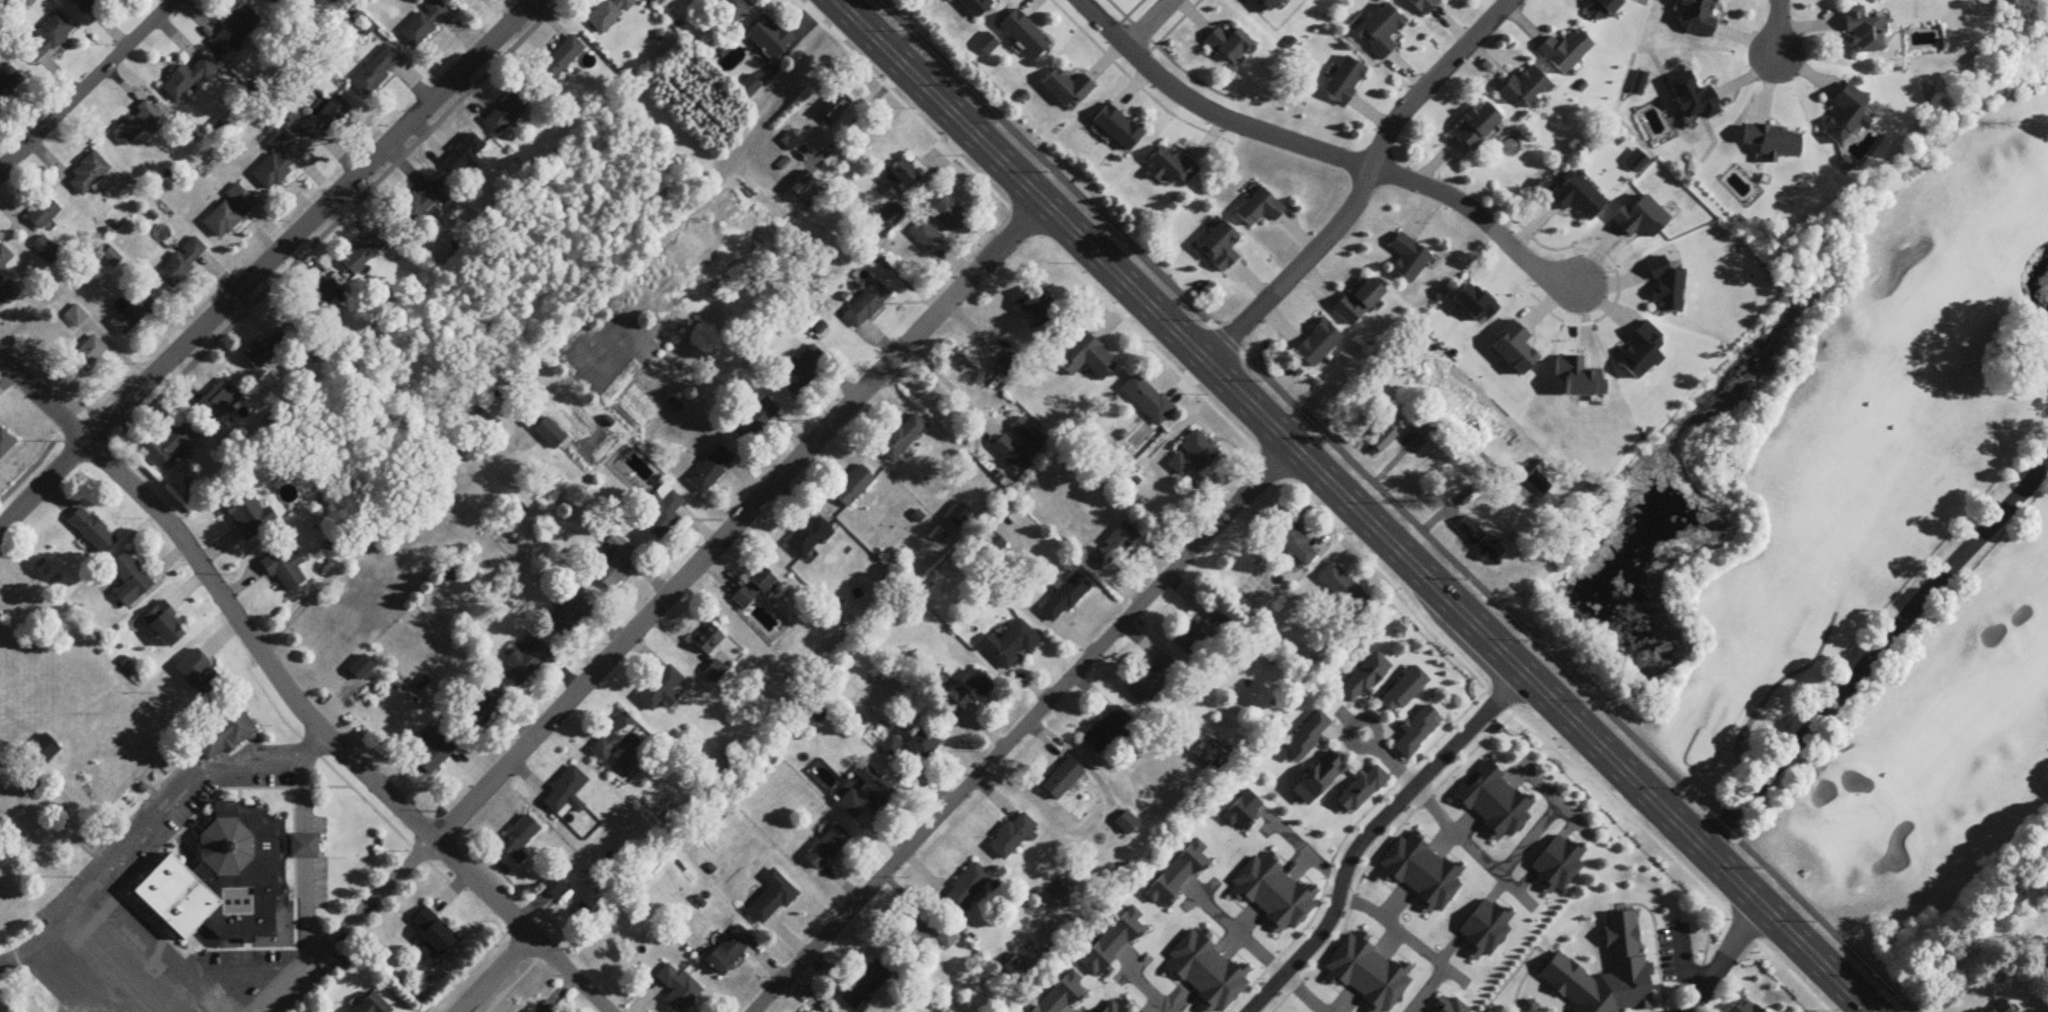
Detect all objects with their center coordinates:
building: (275, 2)
building: (87, 6)
building: (976, 6)
building: (1262, 6)
building: (1423, 6)
building: (733, 8)
building: (1603, 9)
building: (610, 14)
building: (1697, 18)
road: (1144, 22)
building: (424, 24)
road: (1776, 28)
building: (234, 31)
building: (1380, 31)
building: (1864, 32)
building: (1025, 35)
building: (48, 38)
building: (769, 38)
building: (1229, 46)
building: (1565, 52)
building: (562, 59)
building: (376, 71)
building: (187, 81)
building: (1344, 82)
building: (9, 83)
road: (87, 84)
building: (750, 88)
building: (1525, 89)
building: (1067, 90)
building: (1692, 102)
road: (869, 108)
building: (833, 110)
building: (509, 111)
building: (1846, 115)
building: (326, 117)
building: (138, 125)
building: (1476, 128)
building: (1118, 129)
building: (1773, 143)
building: (465, 156)
road: (1327, 156)
building: (278, 164)
building: (1171, 168)
building: (89, 174)
building: (900, 180)
road: (1361, 185)
building: (803, 188)
building: (417, 206)
building: (1259, 210)
building: (43, 214)
building: (229, 214)
building: (948, 216)
building: (893, 217)
road: (309, 221)
building: (926, 238)
building: (1219, 249)
building: (46, 251)
building: (362, 255)
building: (112, 258)
building: (1408, 260)
building: (4, 261)
building: (182, 264)
building: (326, 293)
building: (9, 294)
building: (1358, 304)
building: (1034, 305)
building: (866, 307)
building: (131, 315)
building: (76, 318)
road: (562, 342)
building: (1318, 346)
building: (265, 354)
building: (89, 355)
building: (1086, 359)
building: (802, 372)
road: (949, 384)
building: (1147, 400)
building: (218, 403)
building: (756, 423)
building: (551, 435)
building: (902, 439)
building: (1381, 443)
building: (1033, 446)
building: (167, 447)
building: (4, 448)
building: (1193, 456)
building: (711, 471)
building: (1543, 479)
road: (41, 486)
building: (854, 488)
road: (1454, 502)
road: (1351, 505)
road: (1380, 505)
road: (1326, 509)
building: (661, 512)
building: (247, 515)
park: (1892, 516)
building: (91, 532)
building: (809, 536)
building: (1482, 542)
building: (1295, 544)
building: (1113, 548)
building: (616, 563)
building: (285, 571)
road: (690, 573)
building: (129, 580)
building: (755, 588)
building: (1344, 590)
building: (1064, 596)
building: (571, 612)
building: (163, 624)
building: (1201, 634)
building: (708, 639)
building: (1010, 645)
road: (1875, 650)
building: (526, 662)
building: (199, 674)
building: (1365, 678)
building: (1154, 681)
building: (661, 690)
building: (1404, 691)
building: (966, 694)
road: (290, 697)
building: (481, 708)
road: (1369, 724)
road: (1023, 729)
building: (1106, 729)
building: (220, 730)
building: (1418, 731)
building: (614, 738)
building: (1307, 738)
building: (923, 743)
road: (304, 752)
building: (435, 753)
building: (1205, 754)
building: (37, 762)
parking lot: (259, 764)
road: (1393, 765)
road: (347, 778)
building: (1062, 779)
building: (1319, 779)
road: (327, 785)
road: (258, 787)
building: (1362, 790)
building: (566, 792)
road: (187, 794)
building: (866, 794)
road: (294, 805)
building: (1126, 823)
road: (1372, 833)
parking lot: (139, 837)
building: (1012, 837)
building: (518, 840)
road: (1526, 842)
building: (826, 848)
road: (1471, 848)
road: (1304, 853)
building: (220, 864)
parking lot: (319, 882)
building: (554, 887)
building: (966, 889)
building: (1064, 895)
building: (772, 900)
road: (304, 914)
building: (579, 914)
road: (215, 922)
building: (433, 932)
building: (915, 937)
building: (1658, 937)
road: (1244, 938)
building: (946, 940)
road: (1419, 942)
road: (35, 943)
building: (729, 952)
road: (1722, 955)
road: (116, 964)
road: (489, 972)
road: (295, 975)
building: (865, 986)
road: (190, 987)
road: (1145, 987)
building: (678, 989)
road: (1303, 996)
building: (1576, 1004)
building: (371, 1005)
building: (2002, 1008)
building: (828, 1011)

